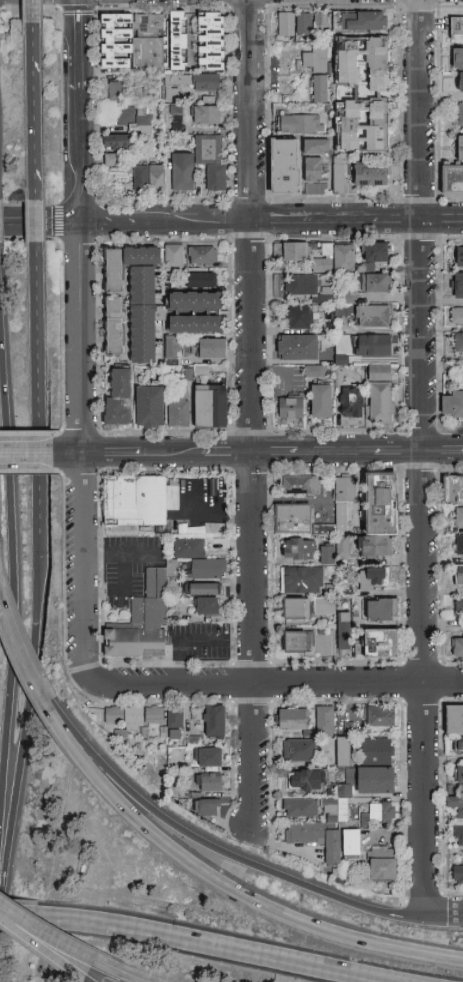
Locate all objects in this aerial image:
road: (33, 13)
building: (320, 19)
building: (364, 21)
building: (286, 25)
building: (304, 25)
building: (456, 28)
building: (111, 41)
building: (180, 41)
building: (211, 42)
road: (81, 45)
building: (151, 45)
building: (457, 59)
building: (317, 61)
building: (362, 61)
building: (461, 82)
building: (207, 83)
building: (181, 89)
building: (320, 89)
building: (122, 91)
road: (34, 104)
building: (176, 110)
building: (461, 114)
building: (128, 115)
building: (207, 116)
building: (144, 122)
building: (177, 122)
building: (301, 124)
building: (363, 126)
building: (118, 145)
building: (316, 146)
building: (460, 148)
building: (209, 150)
road: (82, 156)
building: (114, 160)
building: (286, 166)
building: (182, 172)
building: (371, 174)
building: (339, 175)
building: (314, 177)
building: (141, 179)
building: (157, 179)
building: (216, 179)
building: (451, 179)
road: (35, 193)
road: (357, 222)
road: (41, 223)
road: (114, 223)
road: (199, 223)
road: (35, 224)
building: (292, 252)
building: (378, 253)
building: (203, 255)
building: (459, 257)
building: (174, 258)
building: (336, 259)
building: (114, 270)
building: (201, 281)
building: (375, 283)
building: (304, 285)
building: (458, 286)
building: (348, 294)
building: (196, 302)
building: (142, 303)
building: (373, 316)
building: (457, 316)
building: (299, 317)
building: (106, 323)
building: (115, 326)
building: (196, 326)
road: (82, 339)
road: (420, 342)
building: (458, 343)
building: (374, 345)
building: (173, 348)
building: (298, 348)
building: (212, 349)
building: (311, 371)
road: (40, 390)
building: (380, 394)
building: (120, 398)
building: (322, 400)
building: (351, 401)
building: (452, 405)
building: (150, 407)
building: (210, 407)
building: (291, 409)
building: (179, 414)
road: (252, 415)
road: (274, 453)
road: (335, 453)
road: (396, 453)
road: (441, 453)
road: (133, 454)
road: (228, 454)
road: (31, 455)
building: (300, 485)
building: (345, 489)
building: (453, 490)
building: (138, 501)
building: (380, 514)
building: (459, 517)
building: (293, 519)
building: (198, 528)
building: (322, 530)
building: (339, 545)
building: (459, 545)
building: (189, 547)
building: (299, 549)
road: (121, 552)
building: (327, 555)
road: (13, 562)
road: (86, 565)
building: (209, 569)
road: (122, 571)
building: (459, 576)
building: (373, 579)
building: (303, 580)
building: (204, 589)
building: (153, 601)
building: (459, 604)
building: (208, 606)
building: (323, 607)
building: (297, 609)
building: (382, 610)
building: (344, 631)
road: (192, 639)
building: (298, 642)
building: (381, 643)
building: (135, 644)
building: (458, 647)
road: (19, 663)
road: (273, 686)
building: (114, 716)
building: (133, 716)
building: (153, 716)
building: (380, 717)
building: (175, 719)
building: (292, 719)
building: (325, 720)
building: (454, 720)
building: (215, 722)
road: (29, 732)
building: (142, 732)
building: (174, 734)
building: (459, 746)
building: (342, 749)
building: (376, 750)
building: (300, 751)
building: (210, 758)
building: (459, 774)
building: (304, 780)
building: (375, 780)
building: (209, 783)
road: (425, 799)
building: (456, 806)
building: (209, 808)
building: (300, 808)
building: (382, 813)
building: (458, 836)
building: (316, 838)
building: (352, 845)
road: (217, 846)
building: (382, 864)
building: (458, 875)
road: (222, 886)
road: (444, 914)
road: (19, 918)
road: (56, 937)
road: (42, 946)
road: (211, 947)
road: (130, 975)

